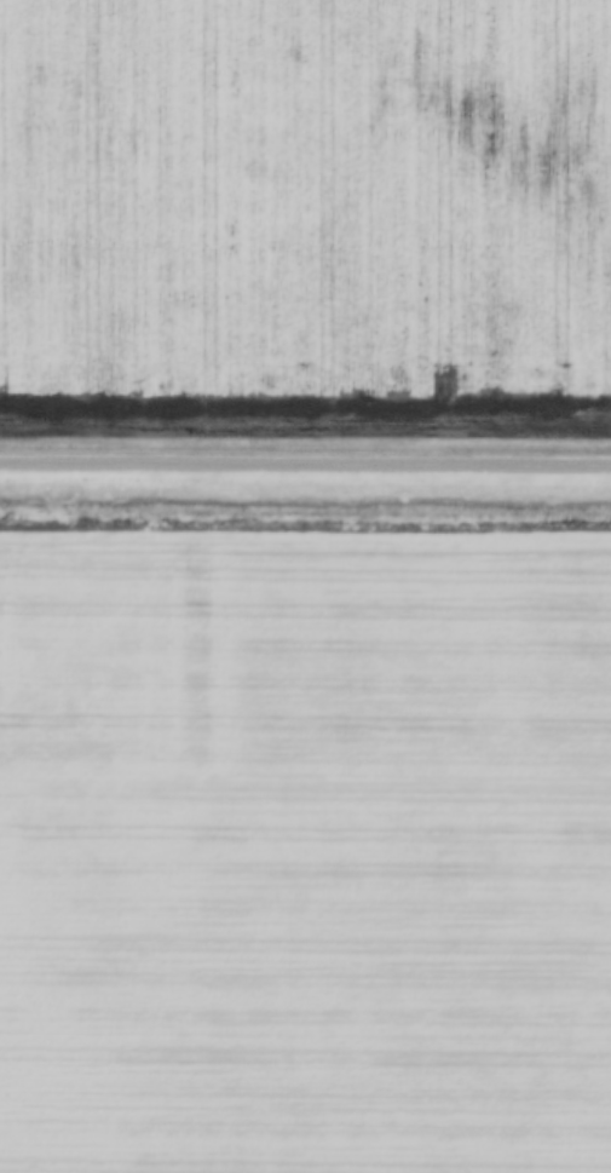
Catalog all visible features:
road: (305, 468)

